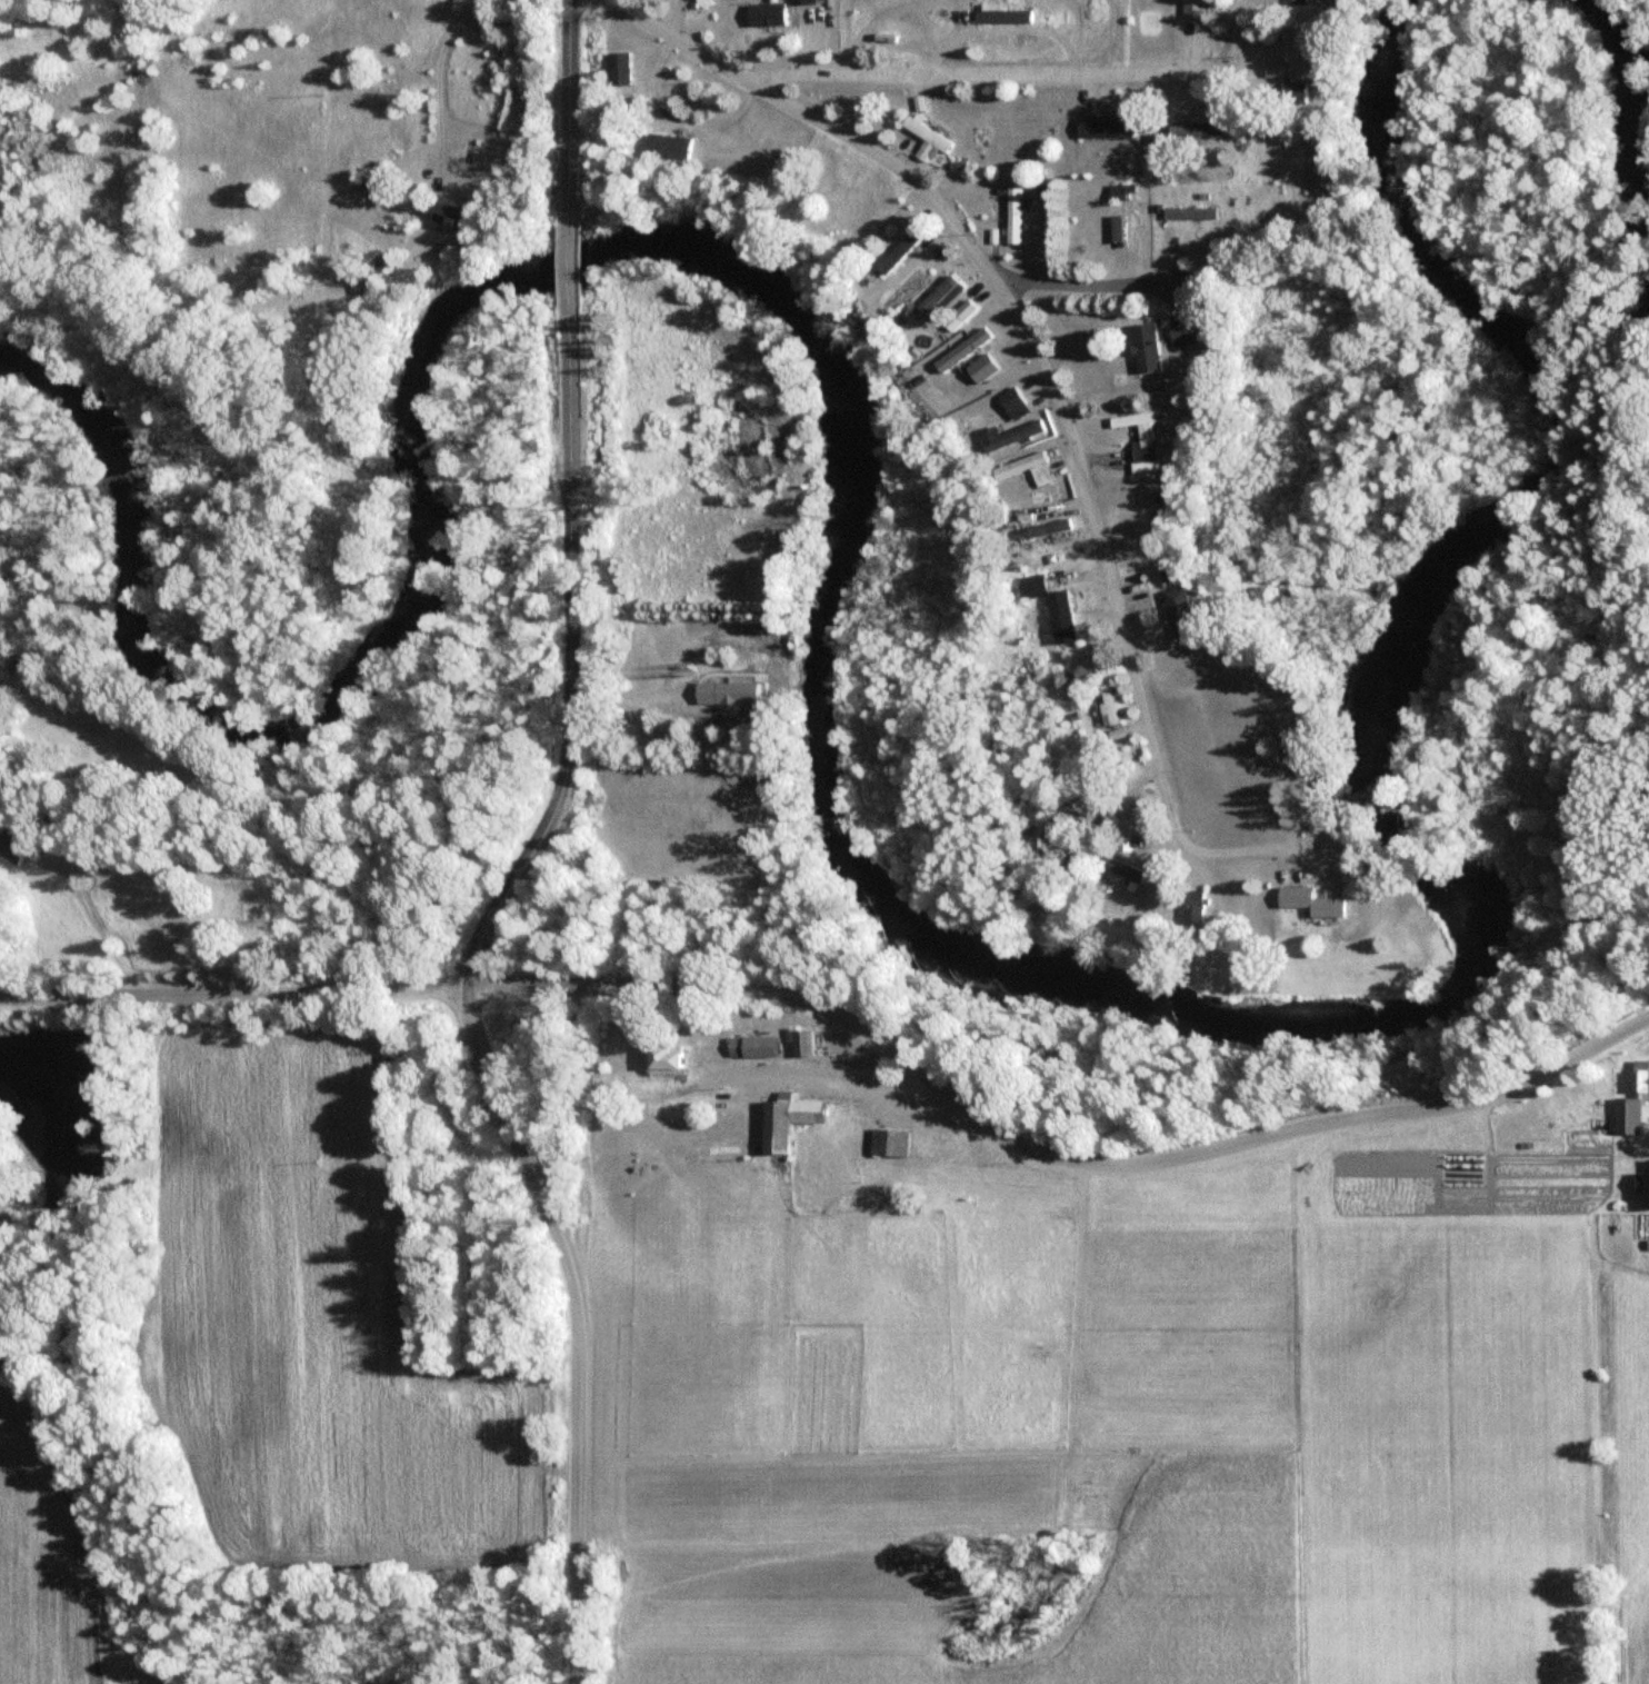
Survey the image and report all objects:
building: (1316, 1)
building: (1191, 8)
building: (627, 70)
road: (967, 77)
road: (564, 113)
building: (1101, 128)
building: (1196, 130)
building: (922, 133)
river: (1630, 139)
road: (468, 172)
building: (376, 181)
building: (461, 215)
building: (1179, 215)
building: (1012, 217)
building: (1121, 226)
road: (570, 269)
road: (1078, 290)
building: (933, 298)
building: (1181, 332)
building: (1142, 347)
building: (962, 350)
building: (979, 368)
road: (1049, 373)
building: (1011, 403)
building: (1128, 420)
building: (1008, 436)
building: (1140, 451)
building: (1021, 469)
road: (1016, 599)
building: (1048, 607)
road: (569, 659)
building: (722, 695)
road: (79, 703)
road: (632, 704)
building: (1103, 704)
road: (1117, 764)
river: (819, 800)
road: (84, 865)
building: (1118, 868)
building: (1288, 898)
building: (1323, 906)
building: (1189, 913)
road: (230, 993)
building: (798, 1044)
building: (747, 1047)
building: (677, 1059)
road: (690, 1086)
building: (1630, 1105)
building: (771, 1127)
building: (886, 1144)
road: (1043, 1150)
building: (1642, 1190)
road: (576, 1322)

